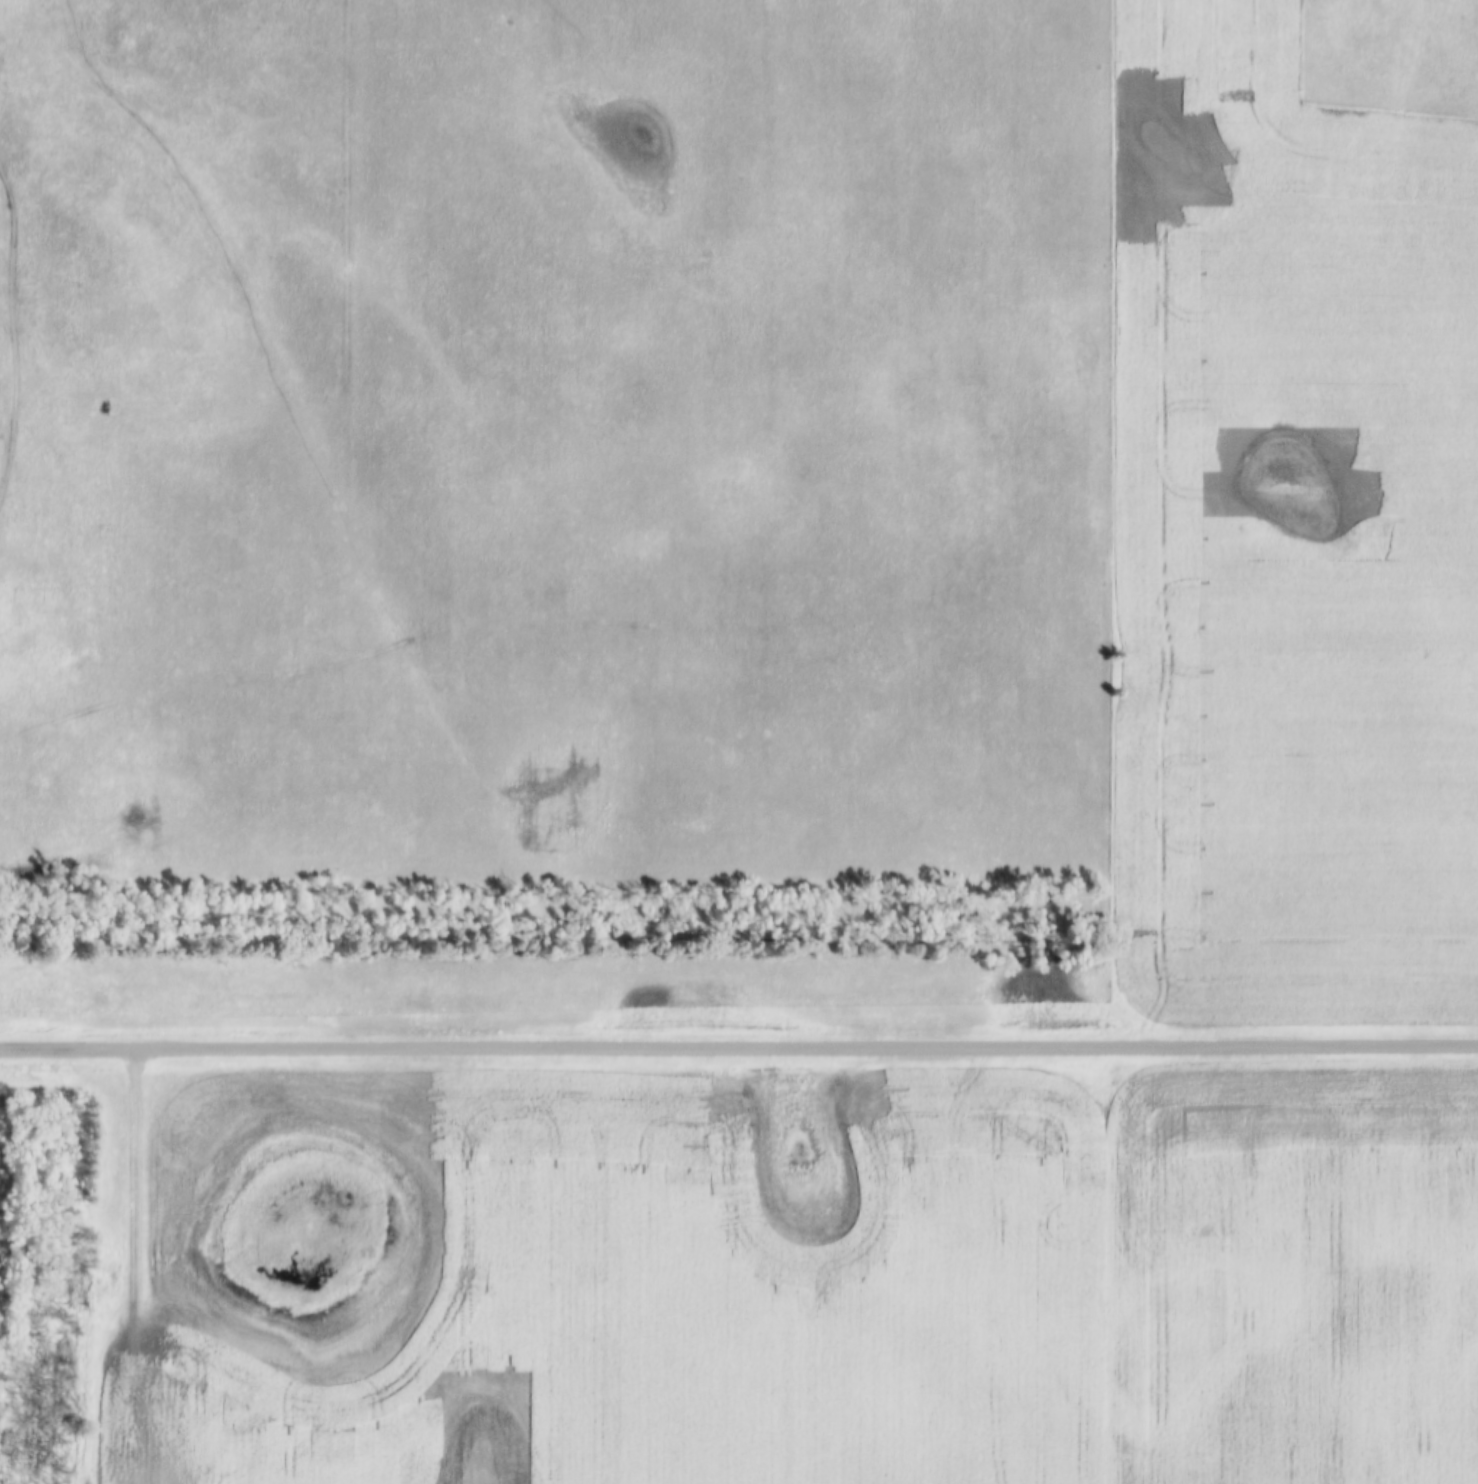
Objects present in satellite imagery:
road: (739, 1047)

